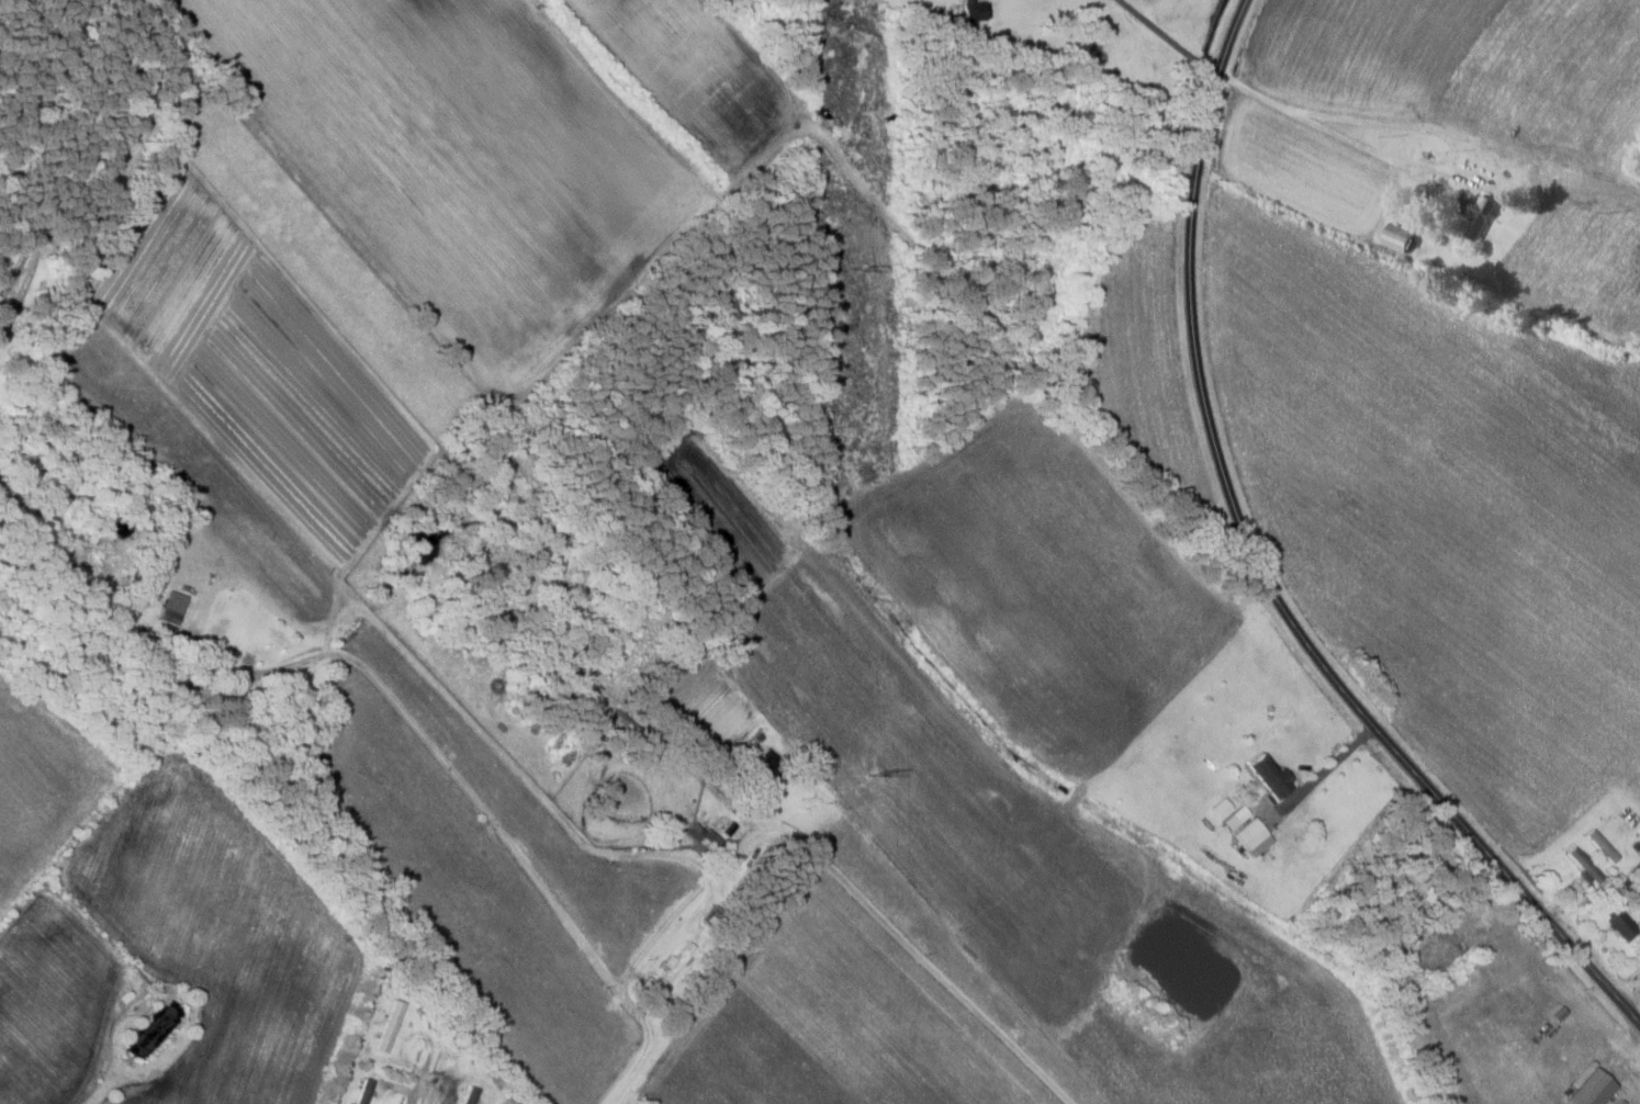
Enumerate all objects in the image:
building: (1483, 212)
building: (1404, 238)
power tower: (864, 269)
road: (1261, 571)
building: (175, 608)
building: (175, 635)
building: (223, 652)
building: (766, 766)
power tower: (876, 770)
building: (1276, 780)
road: (241, 826)
building: (1251, 834)
building: (703, 840)
building: (1603, 846)
building: (1585, 865)
building: (1638, 870)
road: (883, 914)
building: (1620, 921)
building: (678, 962)
building: (386, 1026)
building: (366, 1092)
building: (471, 1095)

